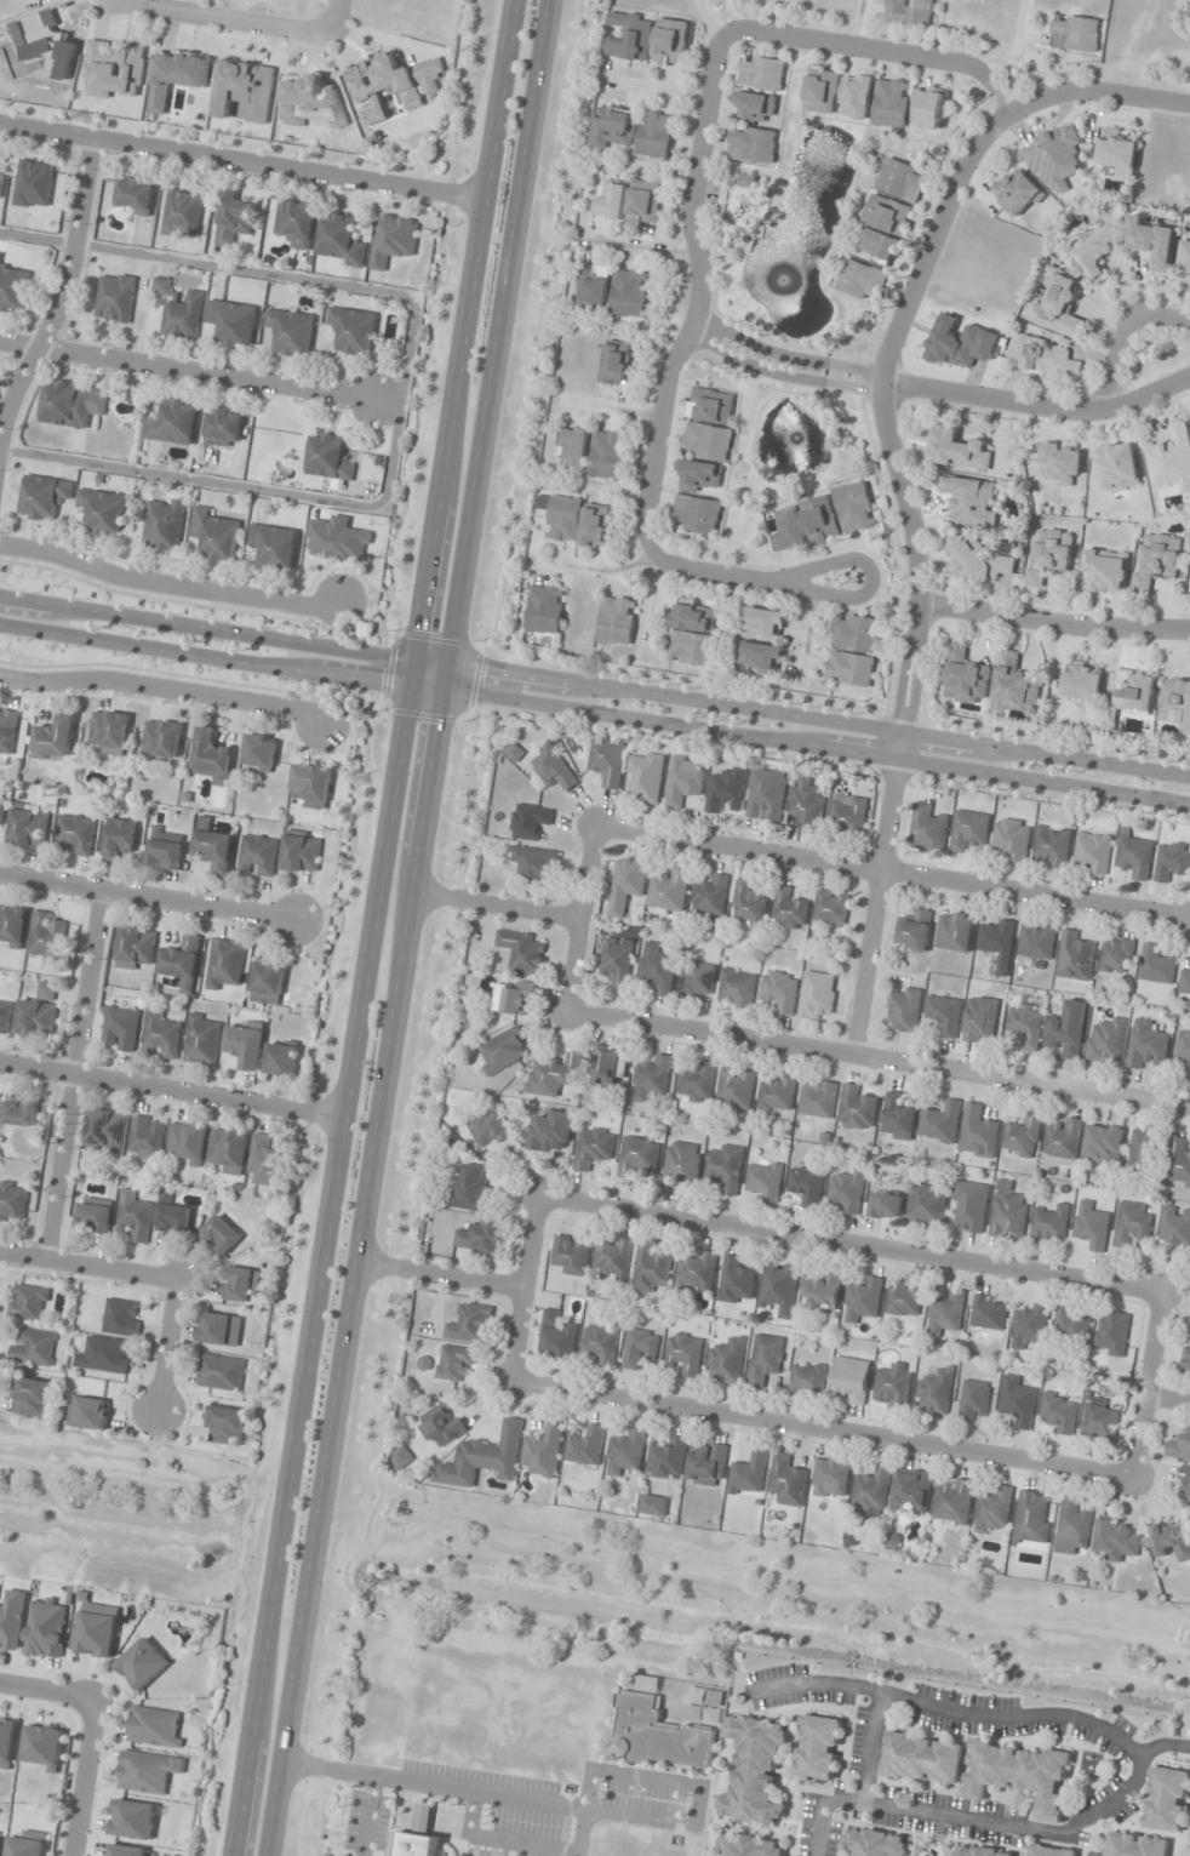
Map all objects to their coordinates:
building: (905, 13)
road: (240, 15)
road: (334, 15)
building: (1076, 34)
building: (629, 36)
building: (670, 42)
building: (114, 69)
building: (761, 73)
building: (391, 84)
road: (1098, 85)
building: (822, 90)
building: (856, 96)
building: (891, 104)
building: (755, 107)
building: (614, 129)
building: (656, 135)
building: (753, 145)
building: (1117, 155)
road: (242, 161)
building: (902, 181)
building: (1, 184)
building: (34, 184)
building: (1017, 192)
building: (135, 195)
building: (643, 204)
building: (182, 213)
building: (888, 215)
building: (234, 219)
building: (297, 222)
building: (341, 240)
building: (393, 240)
building: (1152, 242)
building: (877, 245)
road: (643, 249)
building: (1097, 252)
building: (1184, 256)
building: (0, 257)
building: (862, 281)
building: (593, 289)
building: (13, 290)
road: (63, 291)
building: (629, 293)
building: (115, 297)
road: (692, 307)
building: (1058, 308)
building: (178, 310)
building: (233, 322)
building: (353, 329)
building: (290, 331)
road: (1123, 338)
building: (960, 343)
building: (1043, 358)
building: (618, 362)
road: (779, 366)
road: (200, 371)
road: (402, 384)
building: (71, 404)
building: (709, 405)
road: (1036, 405)
road: (610, 407)
building: (172, 423)
building: (223, 428)
building: (706, 442)
building: (573, 447)
building: (957, 451)
building: (608, 455)
building: (328, 457)
building: (1169, 458)
building: (1062, 463)
building: (1117, 467)
building: (699, 476)
building: (44, 496)
building: (971, 502)
building: (854, 507)
building: (101, 512)
building: (697, 514)
building: (563, 519)
building: (820, 520)
building: (162, 525)
building: (596, 526)
building: (789, 531)
building: (213, 535)
building: (337, 538)
building: (274, 546)
building: (1048, 555)
building: (1156, 560)
building: (979, 561)
road: (917, 565)
road: (597, 567)
building: (1104, 571)
road: (166, 588)
road: (654, 595)
building: (544, 610)
building: (694, 616)
building: (617, 621)
road: (1052, 621)
building: (763, 623)
road: (805, 629)
building: (856, 633)
building: (691, 649)
traffic signals: (414, 655)
building: (760, 657)
traffic signals: (451, 659)
building: (851, 669)
building: (966, 676)
road: (595, 683)
building: (1081, 684)
building: (1014, 686)
road: (164, 687)
traffic signals: (410, 689)
traffic signals: (444, 693)
building: (1129, 696)
building: (1175, 704)
road: (595, 713)
building: (7, 731)
building: (109, 732)
building: (55, 738)
building: (161, 738)
building: (259, 753)
building: (514, 753)
building: (212, 756)
building: (607, 763)
building: (551, 767)
building: (646, 776)
building: (682, 783)
building: (311, 786)
building: (726, 792)
building: (766, 795)
building: (806, 805)
building: (2, 811)
building: (848, 816)
building: (531, 822)
building: (29, 828)
building: (927, 828)
building: (968, 830)
building: (76, 834)
building: (1012, 838)
building: (120, 839)
building: (1051, 846)
building: (166, 849)
building: (214, 850)
building: (302, 852)
building: (1093, 852)
building: (1133, 855)
building: (258, 856)
building: (1172, 861)
building: (534, 863)
road: (889, 870)
building: (628, 881)
building: (669, 891)
road: (145, 897)
building: (709, 897)
road: (494, 903)
building: (750, 904)
building: (831, 908)
building: (789, 910)
road: (577, 915)
building: (12, 926)
road: (371, 926)
road: (405, 927)
building: (915, 931)
building: (954, 931)
building: (47, 940)
building: (1036, 941)
building: (997, 942)
building: (137, 944)
building: (521, 952)
building: (1116, 956)
building: (1075, 958)
building: (182, 961)
building: (617, 963)
building: (225, 964)
building: (1156, 965)
building: (657, 967)
building: (696, 980)
building: (268, 983)
building: (1184, 984)
building: (737, 988)
building: (779, 990)
building: (817, 995)
building: (516, 998)
building: (903, 1010)
building: (38, 1012)
building: (944, 1013)
building: (4, 1016)
building: (979, 1018)
building: (121, 1026)
building: (1025, 1026)
building: (1065, 1032)
building: (160, 1035)
building: (202, 1039)
building: (1106, 1040)
building: (246, 1044)
building: (1184, 1044)
building: (1146, 1045)
building: (502, 1051)
road: (876, 1058)
building: (281, 1060)
building: (607, 1067)
road: (70, 1074)
building: (554, 1074)
building: (651, 1079)
building: (696, 1083)
road: (170, 1087)
building: (736, 1090)
building: (777, 1095)
building: (818, 1100)
building: (857, 1109)
building: (21, 1112)
building: (897, 1115)
building: (940, 1123)
building: (487, 1127)
building: (979, 1130)
building: (551, 1131)
building: (105, 1132)
building: (1022, 1136)
building: (147, 1138)
building: (188, 1141)
building: (1063, 1141)
building: (1103, 1144)
building: (593, 1148)
building: (229, 1150)
building: (1142, 1152)
building: (637, 1155)
building: (265, 1161)
building: (1178, 1163)
building: (682, 1164)
building: (726, 1169)
building: (763, 1181)
building: (470, 1187)
building: (806, 1187)
building: (846, 1192)
building: (12, 1201)
building: (885, 1205)
building: (926, 1206)
building: (971, 1207)
building: (1008, 1212)
building: (93, 1216)
building: (135, 1217)
building: (173, 1218)
building: (1049, 1224)
building: (1091, 1226)
building: (1132, 1226)
building: (1174, 1227)
building: (222, 1234)
building: (481, 1239)
road: (847, 1241)
building: (571, 1253)
building: (614, 1258)
road: (87, 1264)
building: (651, 1268)
building: (698, 1272)
road: (436, 1273)
building: (734, 1280)
building: (239, 1284)
road: (520, 1286)
building: (780, 1287)
building: (904, 1298)
building: (863, 1301)
building: (29, 1302)
building: (945, 1314)
building: (121, 1317)
building: (988, 1317)
building: (1071, 1324)
building: (1189, 1324)
building: (470, 1325)
building: (1029, 1326)
building: (221, 1330)
building: (1111, 1334)
building: (557, 1338)
road: (167, 1343)
building: (601, 1343)
building: (33, 1347)
building: (640, 1348)
building: (685, 1354)
building: (103, 1355)
building: (727, 1359)
building: (765, 1360)
building: (454, 1363)
building: (1185, 1363)
building: (221, 1372)
building: (807, 1378)
building: (849, 1380)
road: (1146, 1381)
building: (892, 1386)
building: (936, 1389)
road: (1167, 1398)
building: (38, 1399)
building: (1017, 1400)
building: (973, 1401)
building: (88, 1412)
building: (1059, 1414)
building: (1099, 1422)
building: (225, 1424)
building: (440, 1426)
road: (820, 1426)
building: (585, 1445)
building: (1179, 1447)
building: (545, 1450)
building: (625, 1454)
building: (400, 1457)
building: (484, 1457)
building: (666, 1460)
building: (708, 1466)
building: (748, 1475)
building: (830, 1478)
building: (788, 1480)
building: (1185, 1485)
building: (870, 1491)
building: (912, 1491)
building: (952, 1501)
building: (653, 1506)
building: (992, 1511)
building: (1031, 1517)
building: (1072, 1527)
building: (1171, 1540)
building: (1116, 1541)
building: (12, 1618)
building: (47, 1627)
building: (95, 1629)
building: (143, 1663)
road: (45, 1690)
building: (155, 1726)
building: (657, 1736)
building: (7, 1741)
building: (42, 1744)
road: (1163, 1744)
building: (818, 1747)
road: (870, 1748)
road: (1138, 1758)
building: (922, 1759)
building: (147, 1771)
building: (754, 1772)
building: (1022, 1774)
road: (79, 1777)
building: (1166, 1799)
building: (132, 1820)
building: (417, 1837)
building: (0, 1839)
building: (874, 1843)
building: (28, 1844)
building: (748, 1845)
building: (1135, 1845)
building: (126, 1850)
building: (1052, 1851)
building: (983, 1852)

